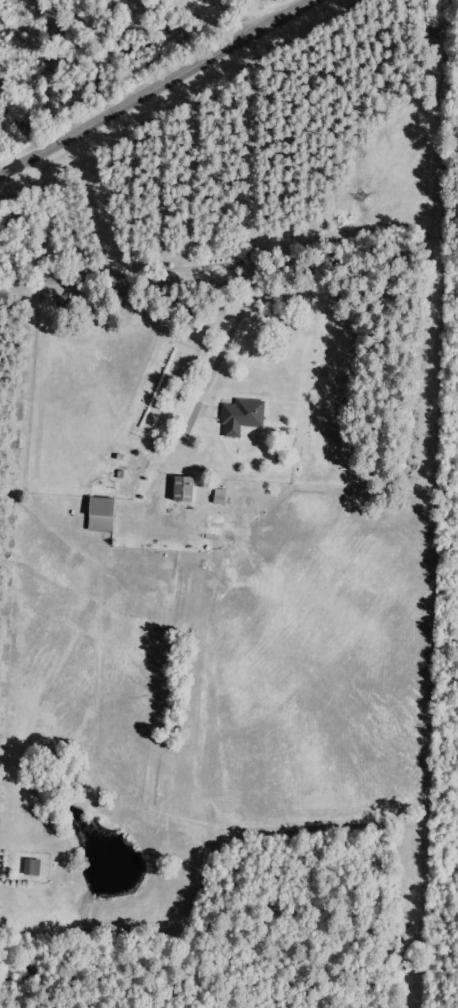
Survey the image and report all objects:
road: (210, 127)
road: (414, 194)

